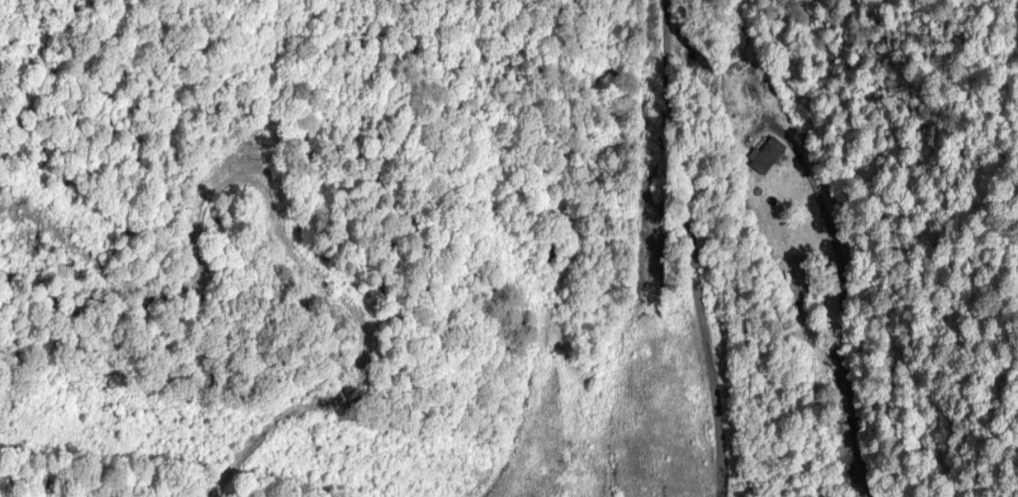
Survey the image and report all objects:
building: (765, 157)
road: (693, 248)
road: (836, 295)

